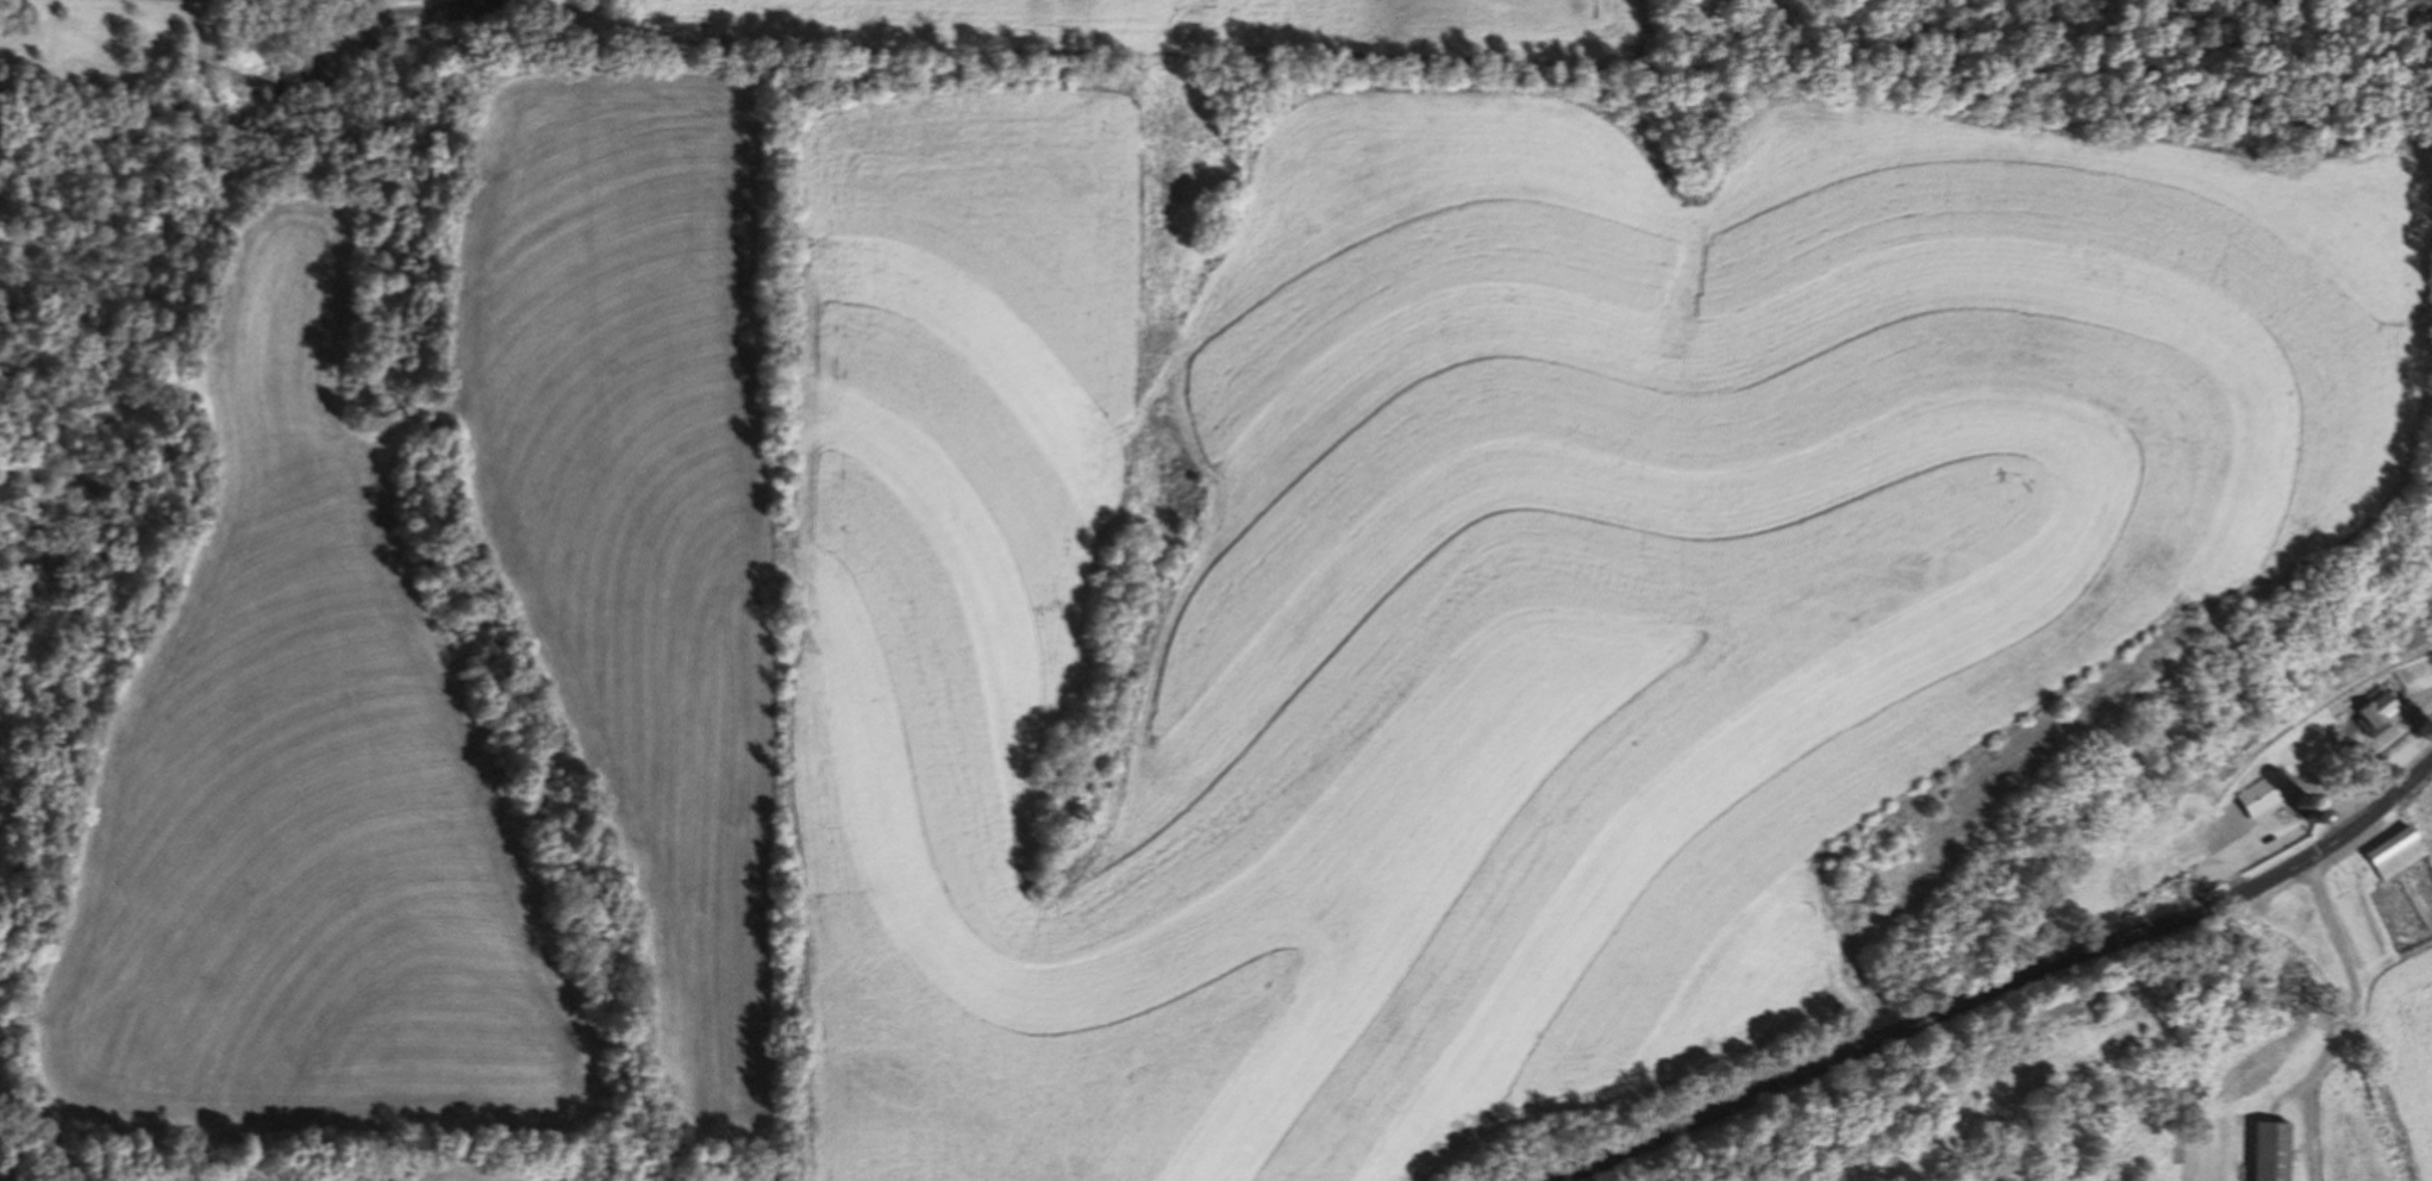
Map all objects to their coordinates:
building: (2377, 711)
building: (2232, 816)
building: (2400, 850)
building: (2099, 867)
building: (2289, 908)
road: (2001, 985)
road: (2349, 1018)
building: (2276, 1150)

